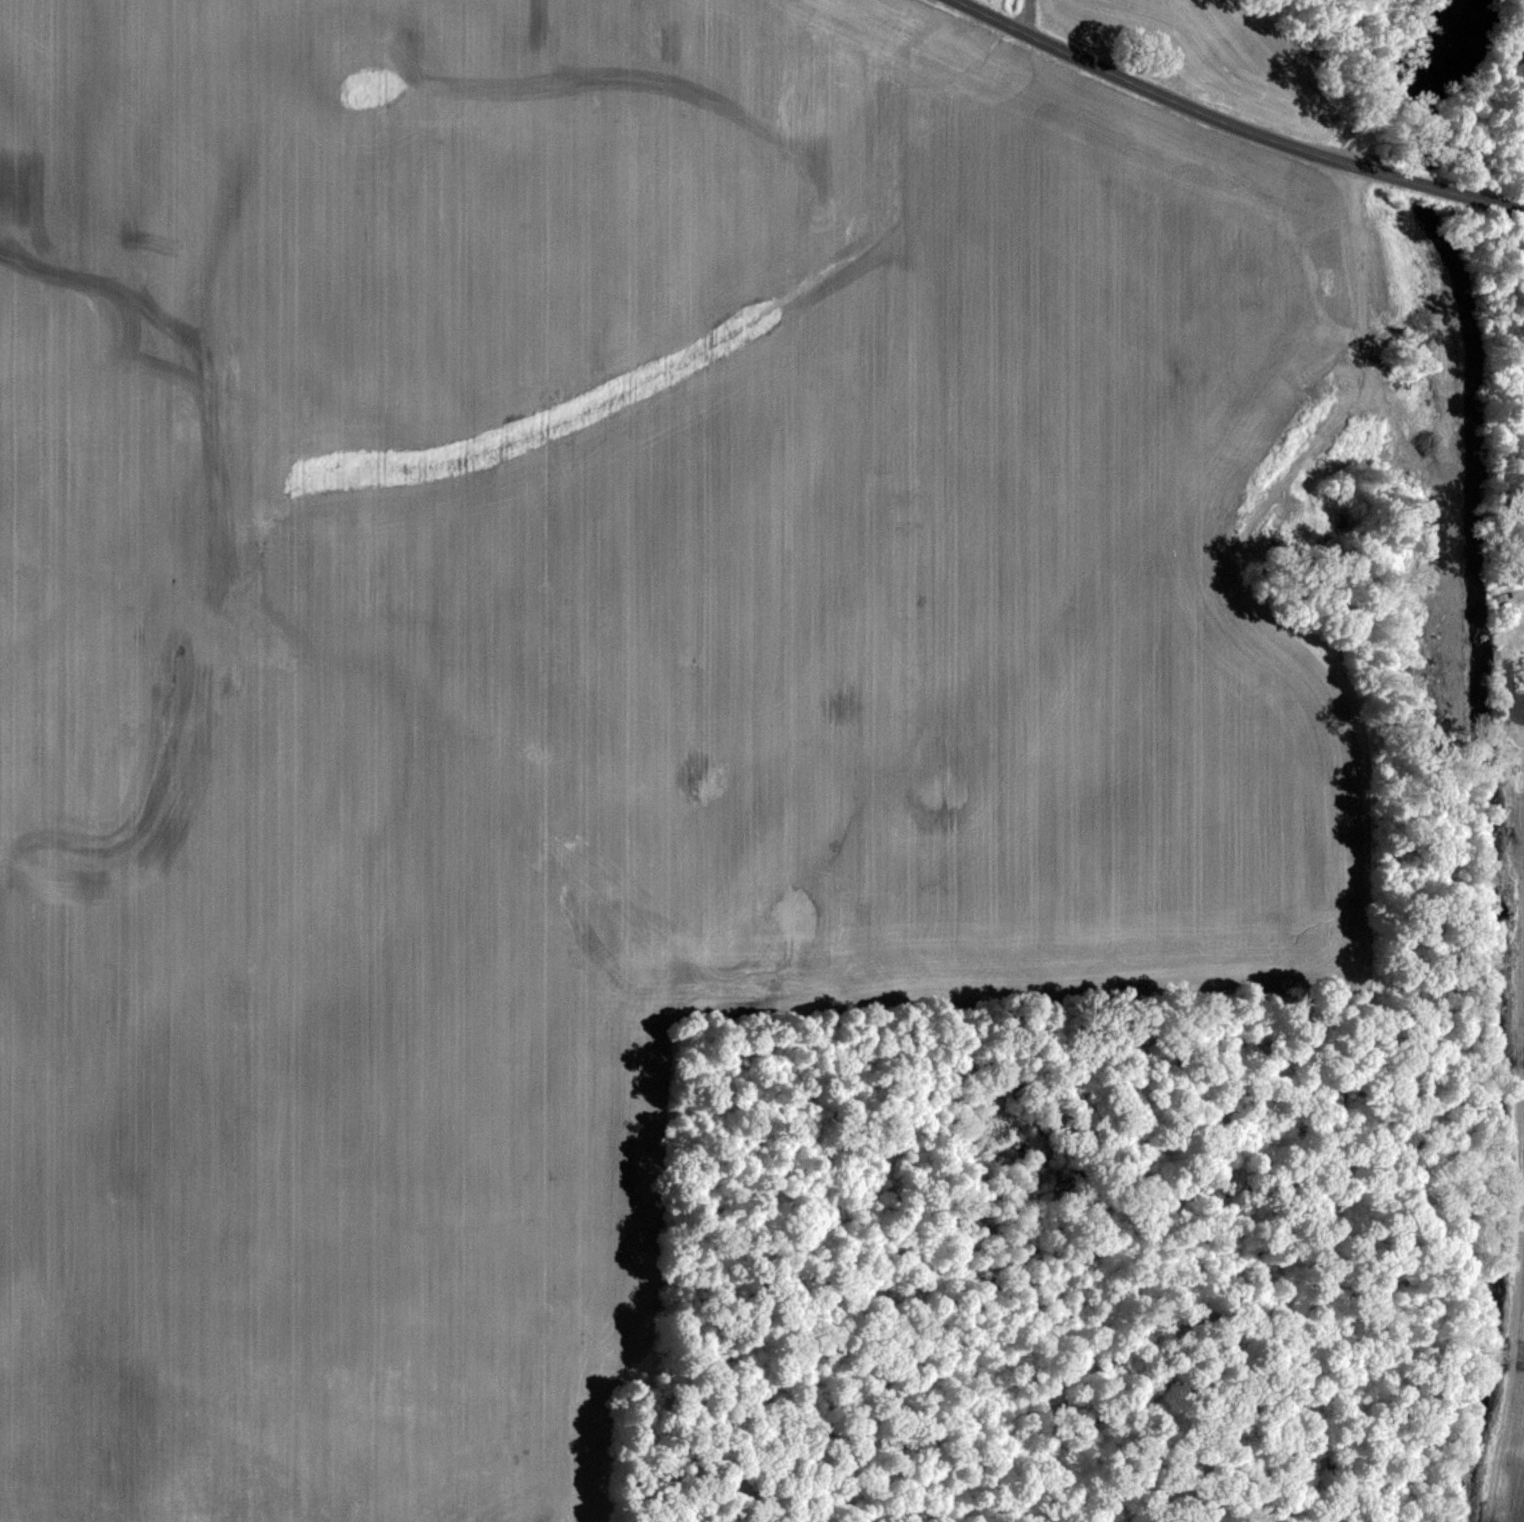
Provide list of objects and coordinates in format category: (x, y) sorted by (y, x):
road: (1234, 123)

